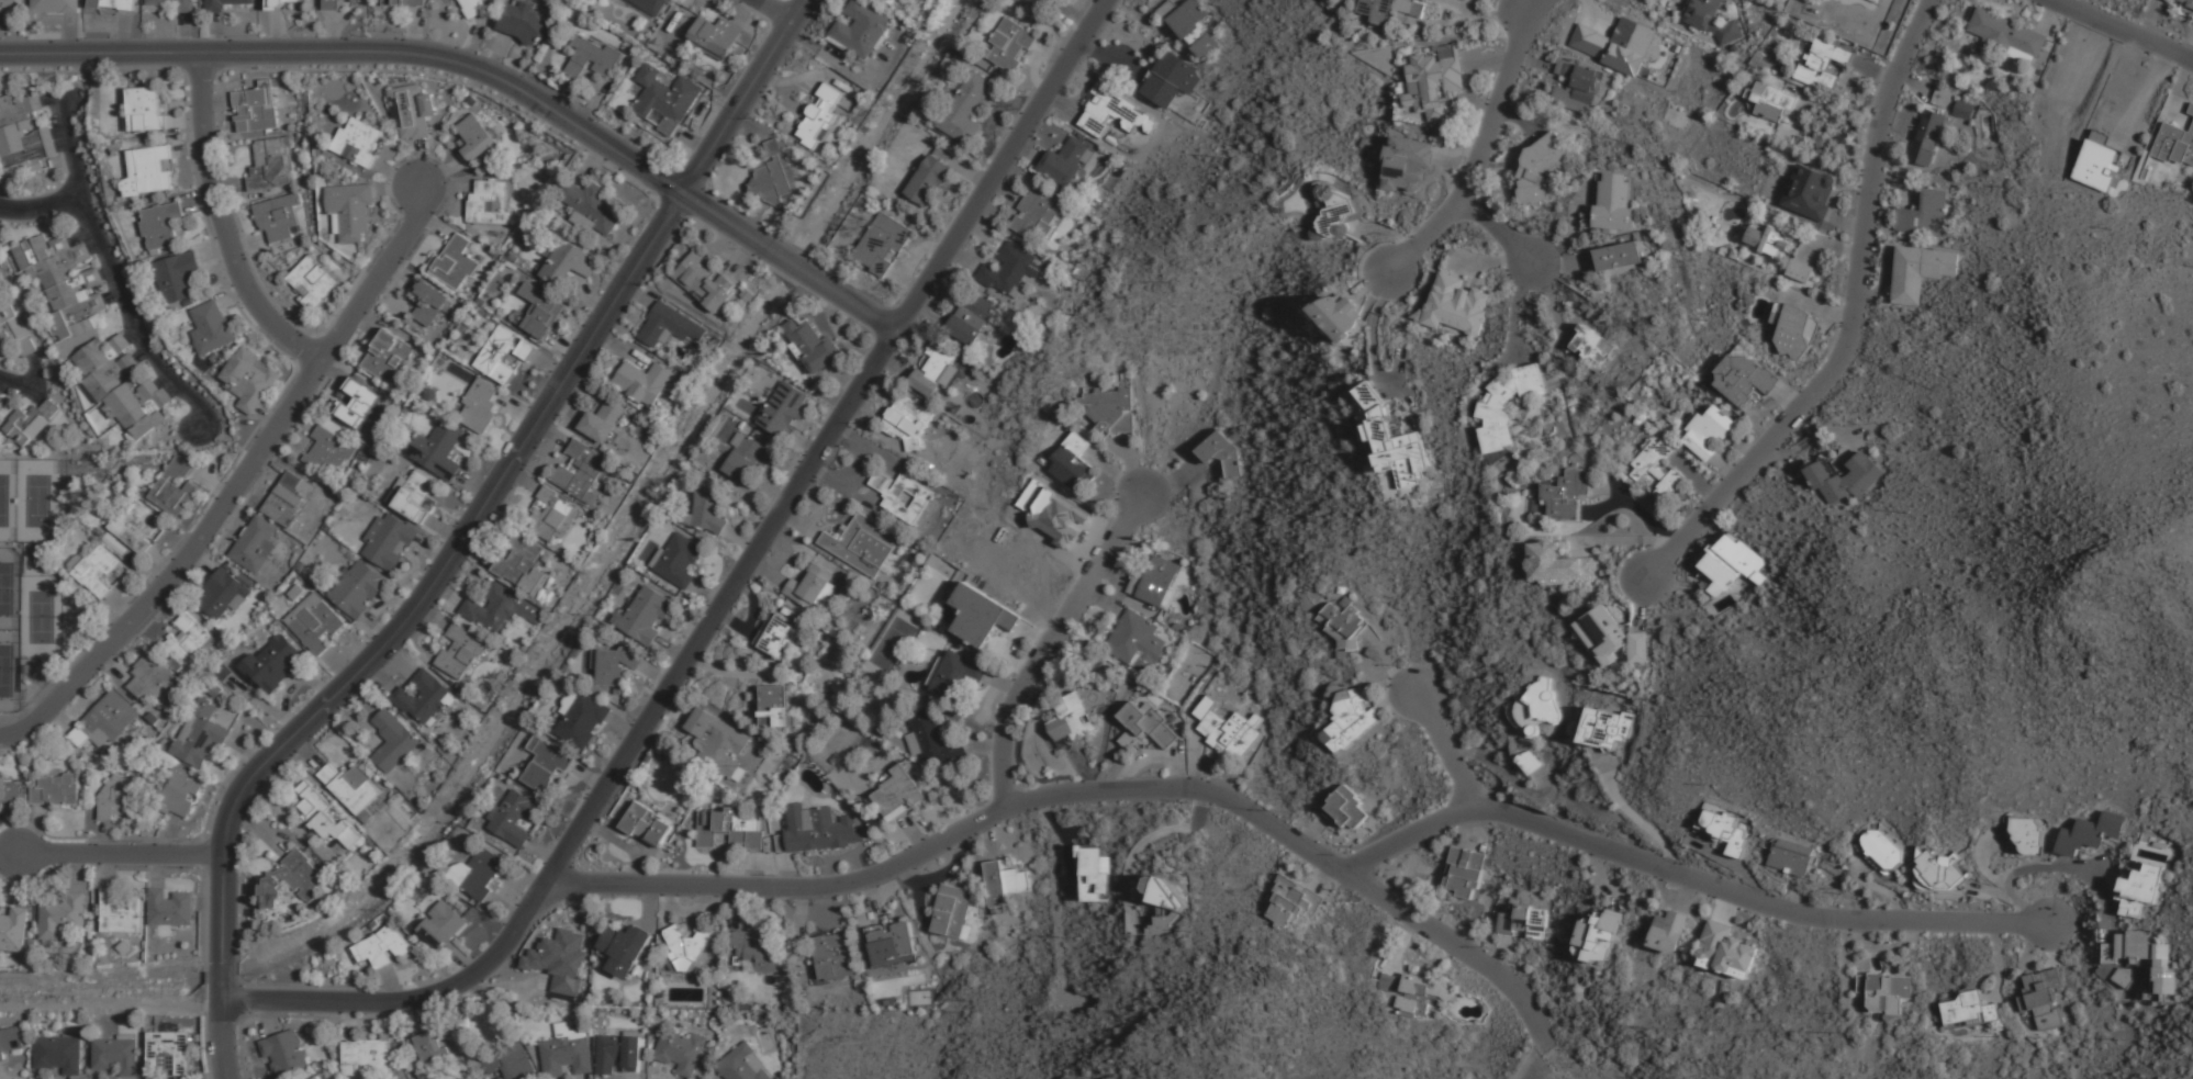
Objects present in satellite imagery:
building: (356, 0)
building: (1877, 0)
building: (2189, 1)
building: (403, 2)
building: (275, 3)
building: (111, 4)
building: (220, 4)
building: (331, 4)
building: (54, 5)
building: (650, 5)
building: (11, 7)
building: (183, 8)
building: (472, 8)
road: (774, 11)
building: (1394, 11)
building: (1710, 20)
building: (523, 22)
building: (1194, 26)
building: (862, 27)
road: (2126, 29)
building: (2007, 32)
building: (715, 35)
building: (1010, 43)
building: (1615, 44)
road: (360, 49)
building: (590, 56)
building: (1822, 63)
building: (1171, 78)
building: (1431, 82)
building: (1576, 86)
road: (743, 95)
building: (663, 97)
road: (52, 99)
road: (217, 100)
building: (1771, 101)
building: (256, 108)
building: (966, 108)
building: (1963, 108)
building: (2191, 108)
building: (145, 109)
building: (18, 110)
building: (412, 111)
building: (820, 114)
building: (1116, 114)
road: (184, 121)
road: (58, 133)
building: (1927, 136)
building: (475, 138)
building: (23, 139)
building: (357, 143)
building: (2175, 143)
road: (61, 147)
road: (1481, 148)
road: (188, 149)
building: (29, 161)
building: (1066, 161)
road: (419, 164)
building: (1407, 165)
building: (269, 167)
building: (1540, 169)
road: (443, 170)
building: (148, 171)
building: (771, 175)
road: (395, 176)
building: (930, 179)
road: (230, 183)
road: (447, 187)
road: (396, 191)
building: (1810, 191)
building: (1614, 201)
building: (489, 204)
road: (199, 205)
building: (590, 206)
road: (40, 207)
building: (351, 210)
building: (1033, 212)
building: (1334, 212)
building: (1925, 215)
building: (277, 216)
road: (725, 217)
road: (222, 223)
building: (163, 224)
road: (435, 226)
road: (1498, 228)
road: (80, 236)
building: (1765, 239)
road: (249, 241)
building: (883, 244)
road: (93, 248)
building: (41, 250)
road: (783, 255)
road: (214, 256)
building: (1618, 256)
building: (512, 257)
building: (567, 261)
building: (455, 263)
building: (61, 267)
building: (1008, 269)
building: (1799, 269)
building: (1921, 271)
road: (104, 273)
road: (110, 274)
road: (402, 274)
building: (177, 276)
building: (706, 281)
building: (312, 282)
building: (75, 290)
road: (111, 297)
road: (847, 297)
road: (233, 299)
building: (430, 303)
building: (1456, 304)
building: (540, 311)
building: (1340, 315)
building: (78, 317)
building: (972, 317)
building: (494, 318)
road: (293, 319)
building: (467, 319)
road: (1854, 319)
road: (366, 325)
building: (670, 326)
building: (15, 329)
building: (212, 329)
building: (1791, 329)
road: (130, 336)
building: (810, 344)
building: (1592, 345)
road: (139, 353)
building: (501, 355)
building: (99, 356)
building: (387, 356)
building: (440, 360)
building: (933, 369)
road: (334, 373)
road: (35, 374)
building: (1744, 375)
building: (112, 376)
road: (161, 380)
building: (249, 380)
building: (644, 381)
road: (3, 385)
road: (20, 385)
road: (172, 390)
building: (430, 394)
road: (37, 397)
building: (1, 398)
building: (130, 398)
building: (357, 403)
building: (1506, 404)
building: (479, 405)
building: (784, 408)
building: (1111, 408)
road: (284, 412)
building: (146, 416)
road: (267, 417)
building: (0, 419)
road: (301, 420)
building: (604, 422)
building: (907, 422)
building: (30, 423)
building: (1711, 432)
building: (1392, 439)
building: (437, 449)
building: (327, 452)
building: (1223, 452)
building: (747, 457)
building: (1073, 461)
road: (270, 467)
building: (1656, 468)
building: (581, 470)
building: (1845, 477)
road: (209, 484)
building: (175, 487)
building: (1567, 494)
building: (411, 495)
building: (902, 495)
park: (8, 501)
park: (35, 501)
building: (287, 501)
building: (708, 507)
road: (238, 513)
building: (553, 516)
building: (137, 527)
building: (388, 540)
building: (861, 543)
building: (253, 544)
road: (161, 560)
building: (678, 560)
building: (521, 563)
building: (1557, 564)
building: (1731, 564)
building: (301, 565)
building: (99, 571)
building: (292, 580)
building: (1153, 582)
building: (810, 586)
building: (356, 587)
park: (9, 589)
building: (295, 592)
building: (224, 594)
road: (719, 595)
road: (120, 606)
road: (166, 606)
building: (501, 609)
building: (981, 615)
building: (645, 616)
park: (37, 618)
building: (313, 621)
building: (1343, 622)
road: (399, 627)
building: (777, 634)
building: (1610, 637)
building: (187, 638)
road: (1050, 640)
building: (1134, 641)
building: (460, 651)
building: (176, 663)
building: (271, 663)
building: (614, 665)
road: (115, 668)
park: (9, 671)
building: (223, 671)
building: (956, 674)
building: (1186, 674)
building: (152, 678)
road: (67, 688)
building: (213, 689)
park: (1843, 694)
building: (423, 696)
building: (775, 707)
building: (225, 715)
building: (152, 717)
building: (582, 719)
building: (1071, 719)
road: (59, 721)
building: (1350, 721)
building: (104, 722)
building: (1145, 726)
building: (1228, 728)
building: (1604, 728)
building: (200, 734)
building: (931, 738)
building: (393, 739)
building: (718, 742)
road: (1445, 745)
building: (87, 761)
building: (546, 764)
building: (350, 786)
building: (55, 789)
building: (177, 790)
building: (8, 791)
building: (897, 793)
building: (115, 797)
building: (1345, 809)
building: (325, 816)
building: (513, 818)
building: (647, 823)
building: (730, 827)
building: (1722, 829)
building: (817, 830)
building: (2089, 833)
road: (953, 834)
road: (1409, 835)
building: (2027, 835)
road: (1144, 842)
building: (1879, 850)
road: (121, 854)
building: (1790, 856)
building: (480, 870)
building: (1939, 870)
building: (1464, 872)
building: (1094, 873)
building: (289, 879)
building: (1004, 883)
building: (2141, 883)
road: (1757, 900)
building: (1287, 901)
building: (1164, 902)
building: (169, 907)
building: (120, 912)
building: (952, 912)
building: (59, 915)
building: (1523, 920)
building: (443, 926)
building: (12, 929)
building: (1668, 932)
building: (30, 933)
building: (1597, 936)
building: (31, 942)
building: (892, 944)
road: (1459, 944)
building: (686, 945)
building: (123, 947)
building: (382, 947)
building: (624, 948)
building: (754, 949)
building: (1725, 951)
building: (832, 956)
building: (2144, 957)
building: (559, 960)
building: (1388, 982)
building: (1420, 993)
building: (1884, 996)
building: (2041, 997)
building: (1968, 1010)
building: (147, 1020)
building: (197, 1037)
building: (10, 1039)
building: (436, 1046)
building: (168, 1050)
building: (680, 1050)
building: (58, 1052)
building: (617, 1052)
building: (286, 1053)
building: (116, 1054)
building: (368, 1054)
building: (564, 1055)
building: (508, 1063)
building: (741, 1064)
building: (313, 1077)

